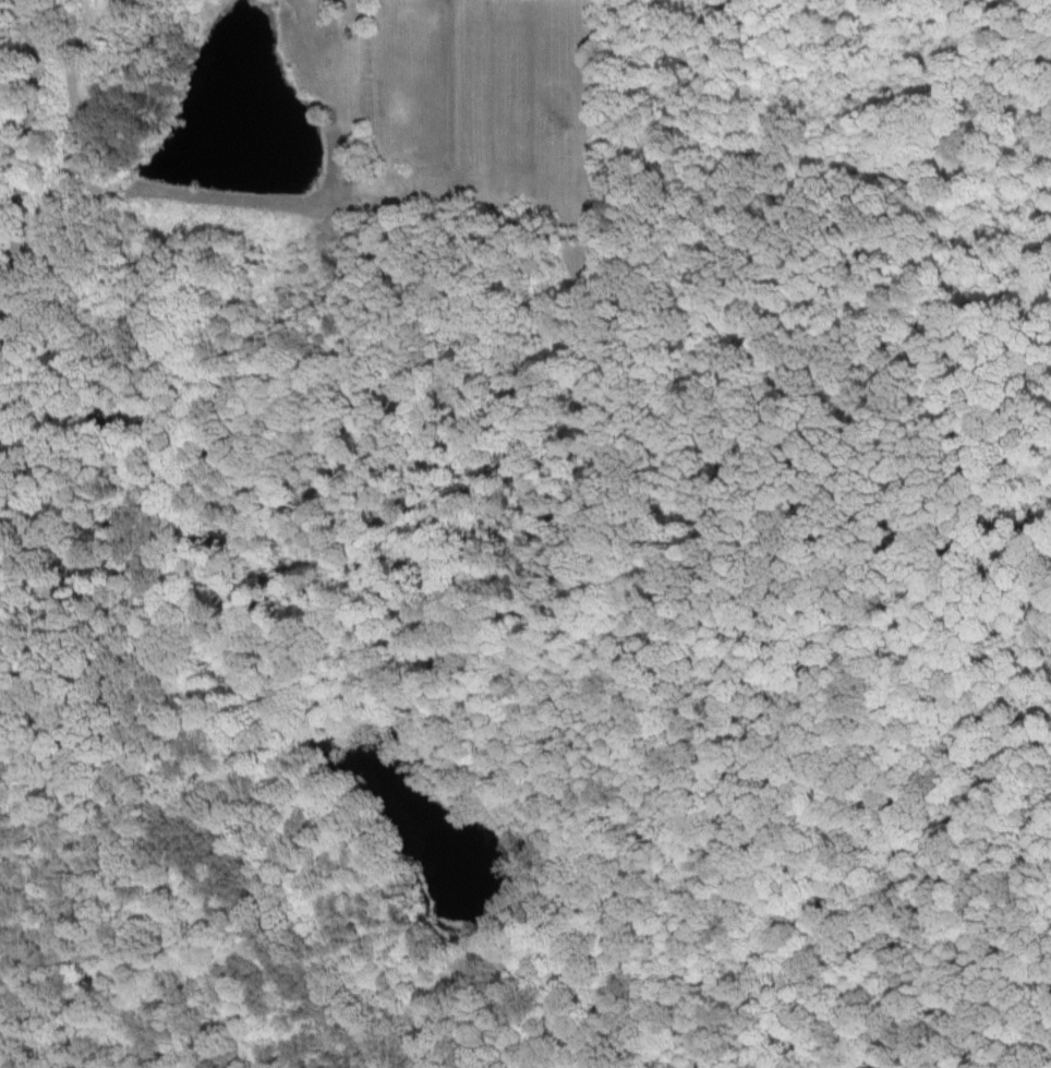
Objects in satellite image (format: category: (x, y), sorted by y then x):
road: (31, 196)

